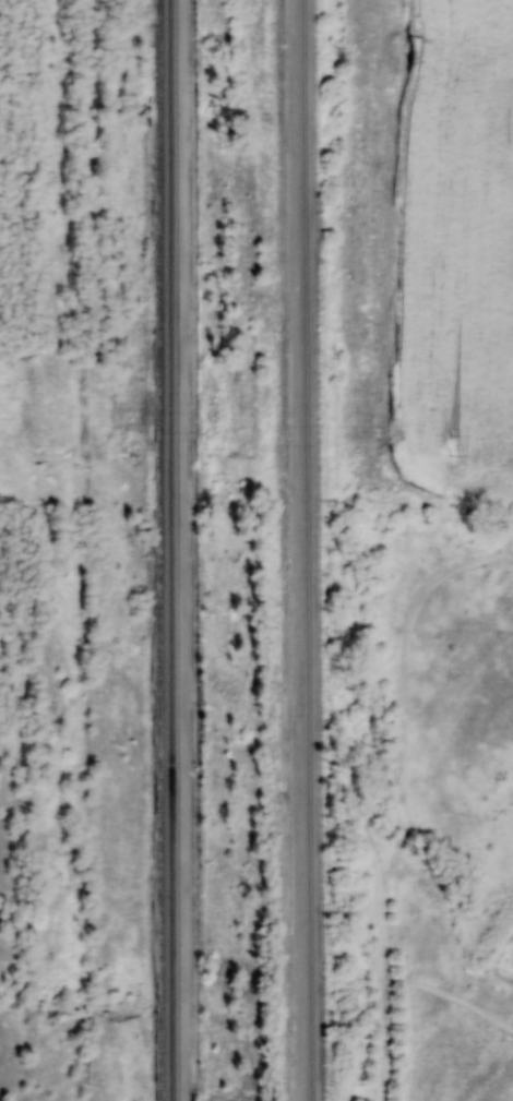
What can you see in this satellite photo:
power tower: (450, 443)
railway: (167, 550)
railway: (307, 550)

